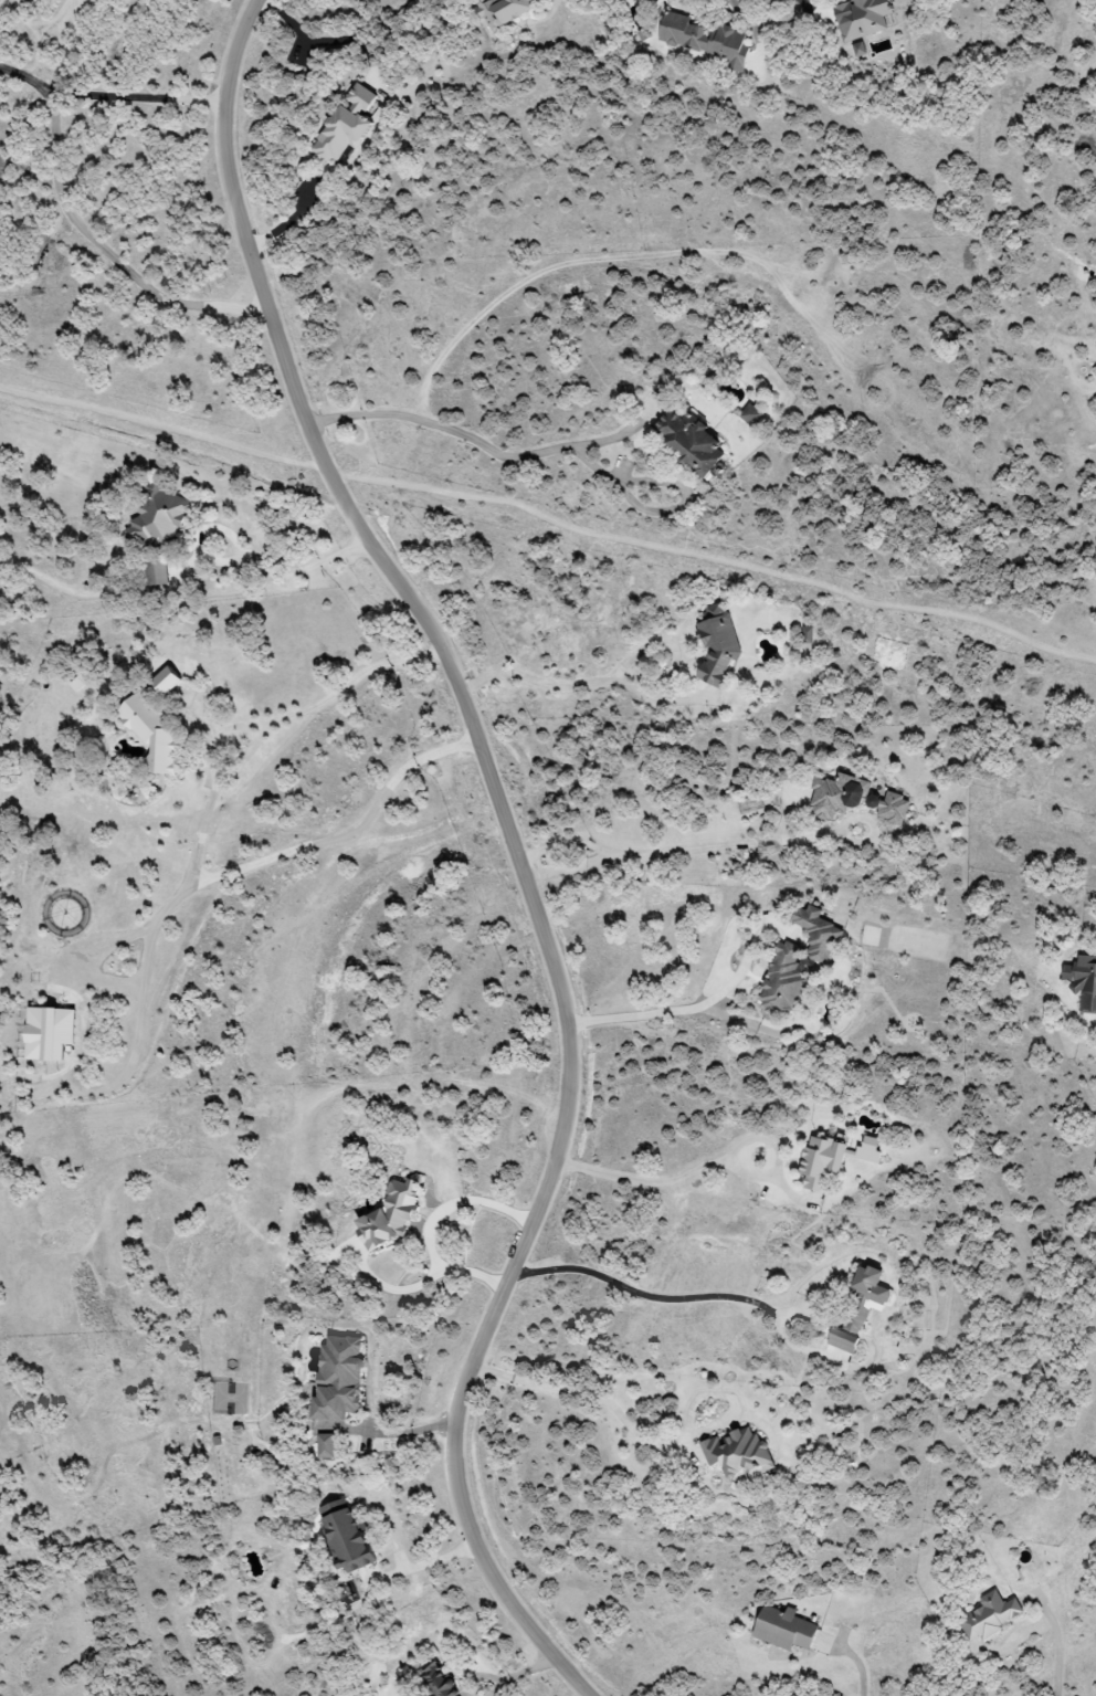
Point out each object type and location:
road: (734, 4)
road: (812, 7)
building: (503, 11)
building: (861, 18)
building: (703, 39)
road: (108, 98)
building: (345, 126)
road: (289, 221)
road: (106, 251)
building: (753, 413)
building: (687, 441)
road: (479, 442)
road: (660, 512)
building: (158, 515)
road: (549, 523)
road: (246, 556)
building: (156, 572)
building: (807, 634)
building: (716, 644)
building: (164, 681)
road: (579, 685)
building: (150, 734)
road: (218, 776)
building: (853, 798)
road: (349, 828)
road: (514, 847)
road: (725, 847)
building: (815, 933)
building: (782, 981)
building: (1083, 981)
road: (684, 1012)
building: (48, 1032)
building: (867, 1150)
building: (819, 1161)
road: (664, 1181)
building: (389, 1214)
road: (431, 1225)
road: (647, 1297)
building: (863, 1300)
building: (841, 1341)
building: (337, 1378)
road: (604, 1403)
building: (325, 1446)
building: (737, 1454)
building: (344, 1535)
road: (425, 1563)
building: (989, 1616)
building: (782, 1629)
road: (1058, 1648)
building: (436, 1682)

